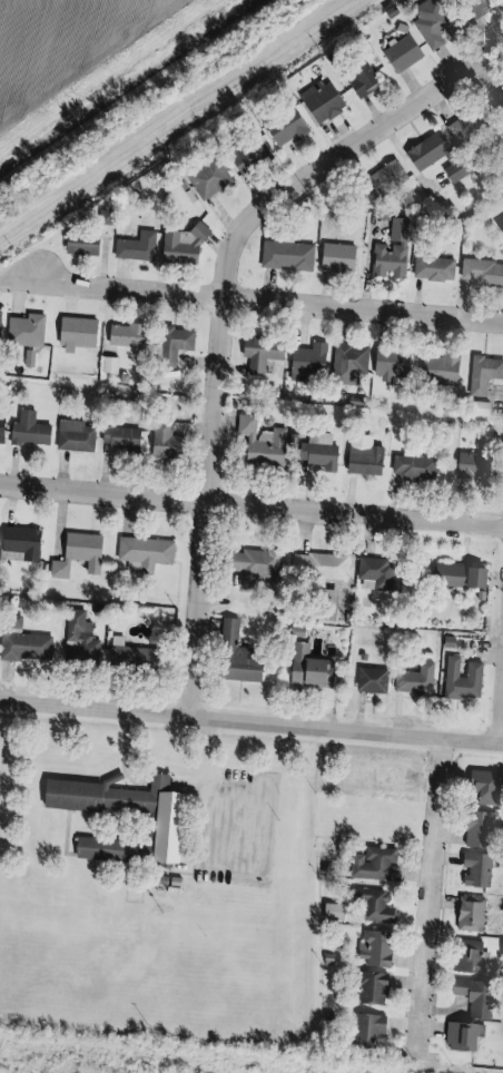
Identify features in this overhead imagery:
building: (475, 7)
building: (428, 22)
building: (400, 53)
building: (361, 78)
building: (499, 95)
building: (319, 101)
railway: (169, 114)
building: (462, 126)
building: (284, 127)
building: (425, 150)
building: (246, 154)
building: (454, 170)
building: (206, 179)
building: (383, 179)
building: (499, 225)
building: (78, 244)
building: (179, 245)
building: (134, 246)
building: (389, 252)
building: (284, 255)
building: (335, 257)
building: (432, 268)
building: (481, 272)
road: (272, 297)
road: (223, 311)
building: (23, 328)
building: (75, 333)
building: (122, 334)
building: (171, 344)
building: (258, 353)
building: (305, 361)
building: (346, 363)
building: (388, 363)
building: (107, 364)
building: (482, 373)
building: (475, 407)
building: (0, 424)
building: (27, 430)
building: (72, 435)
building: (118, 436)
building: (160, 440)
building: (259, 443)
building: (317, 452)
building: (362, 459)
building: (470, 464)
building: (411, 466)
road: (250, 502)
building: (19, 542)
building: (142, 552)
building: (76, 554)
building: (317, 564)
building: (250, 565)
building: (374, 572)
building: (457, 575)
building: (238, 658)
building: (137, 661)
building: (309, 670)
building: (463, 680)
building: (373, 681)
building: (417, 682)
road: (251, 720)
road: (502, 729)
building: (485, 788)
road: (216, 796)
building: (181, 823)
building: (480, 830)
building: (378, 866)
building: (476, 872)
road: (442, 894)
building: (376, 906)
building: (334, 913)
building: (471, 915)
building: (376, 949)
building: (469, 956)
building: (374, 990)
building: (476, 998)
building: (371, 1031)
building: (461, 1037)

